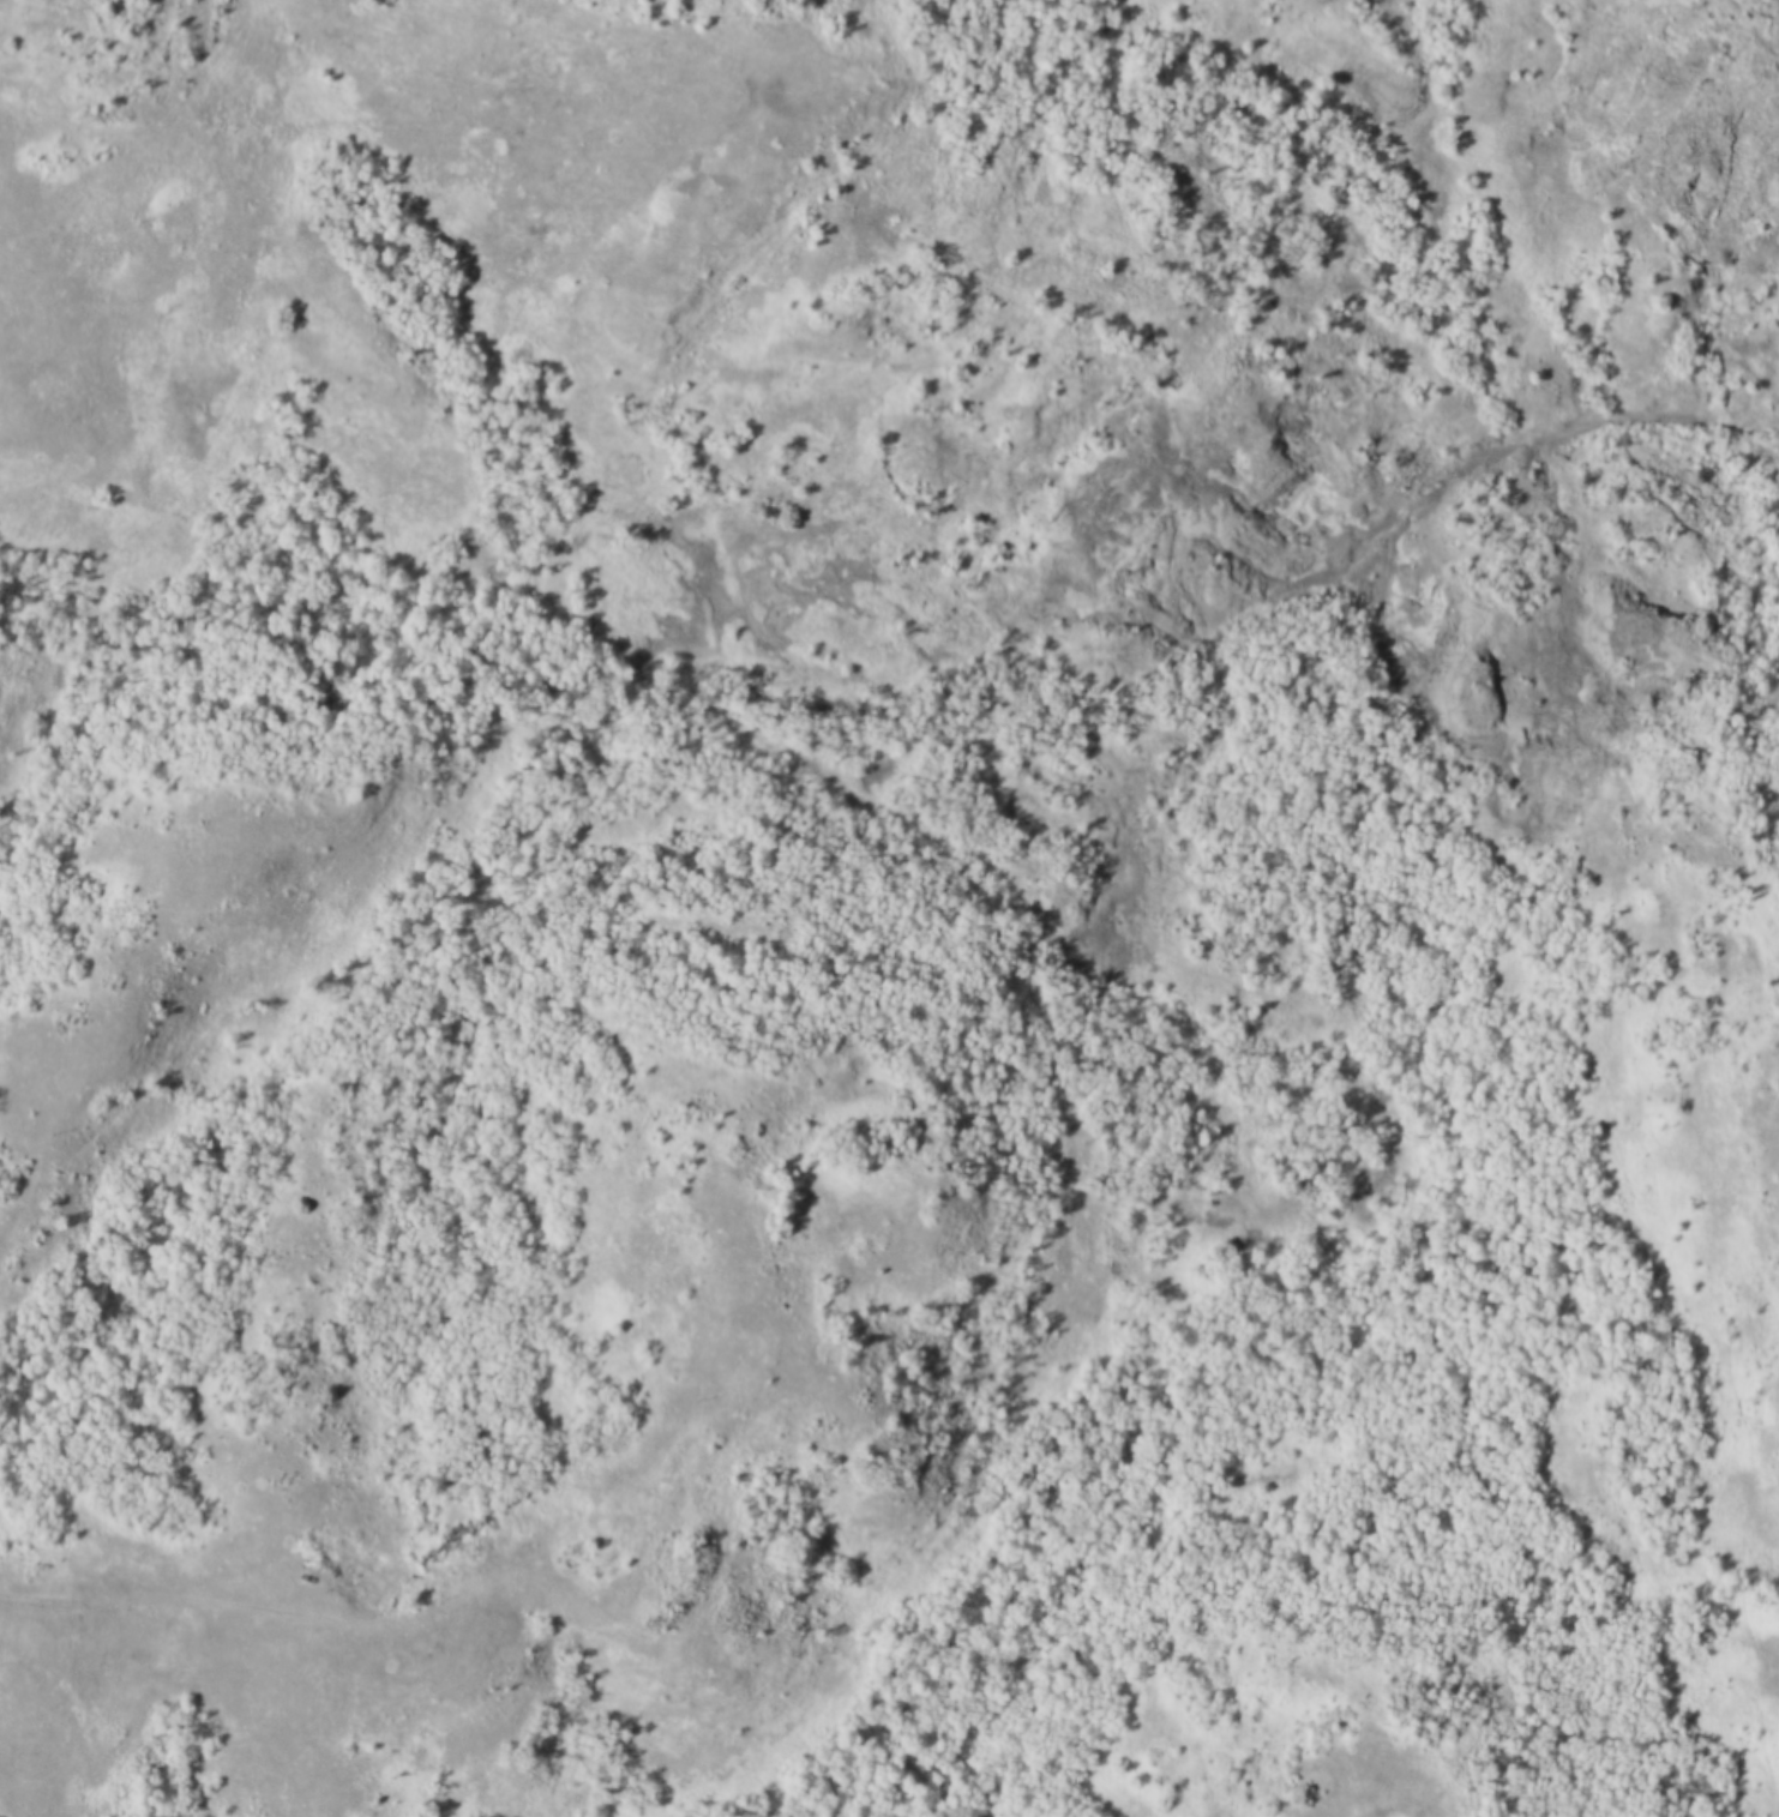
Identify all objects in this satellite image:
road: (312, 1612)

